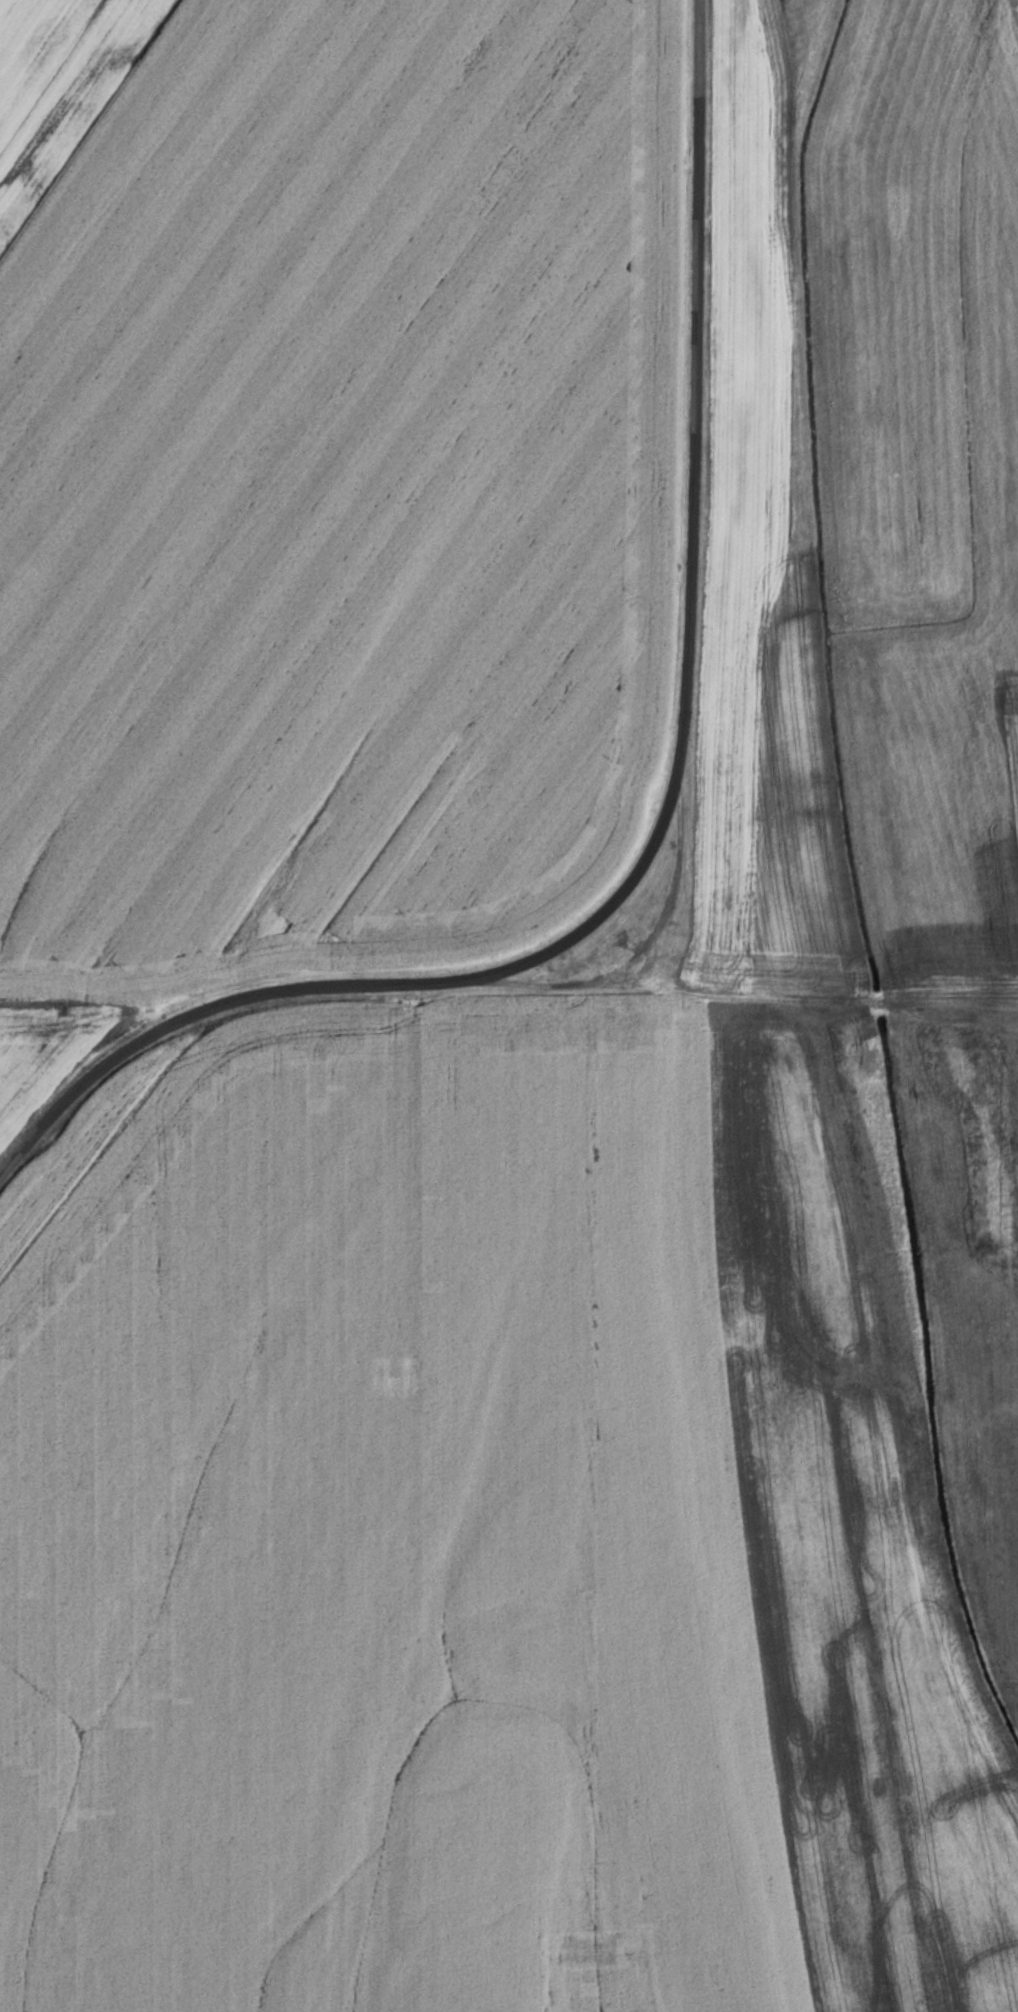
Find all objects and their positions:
road: (663, 805)
road: (644, 950)
road: (821, 992)

